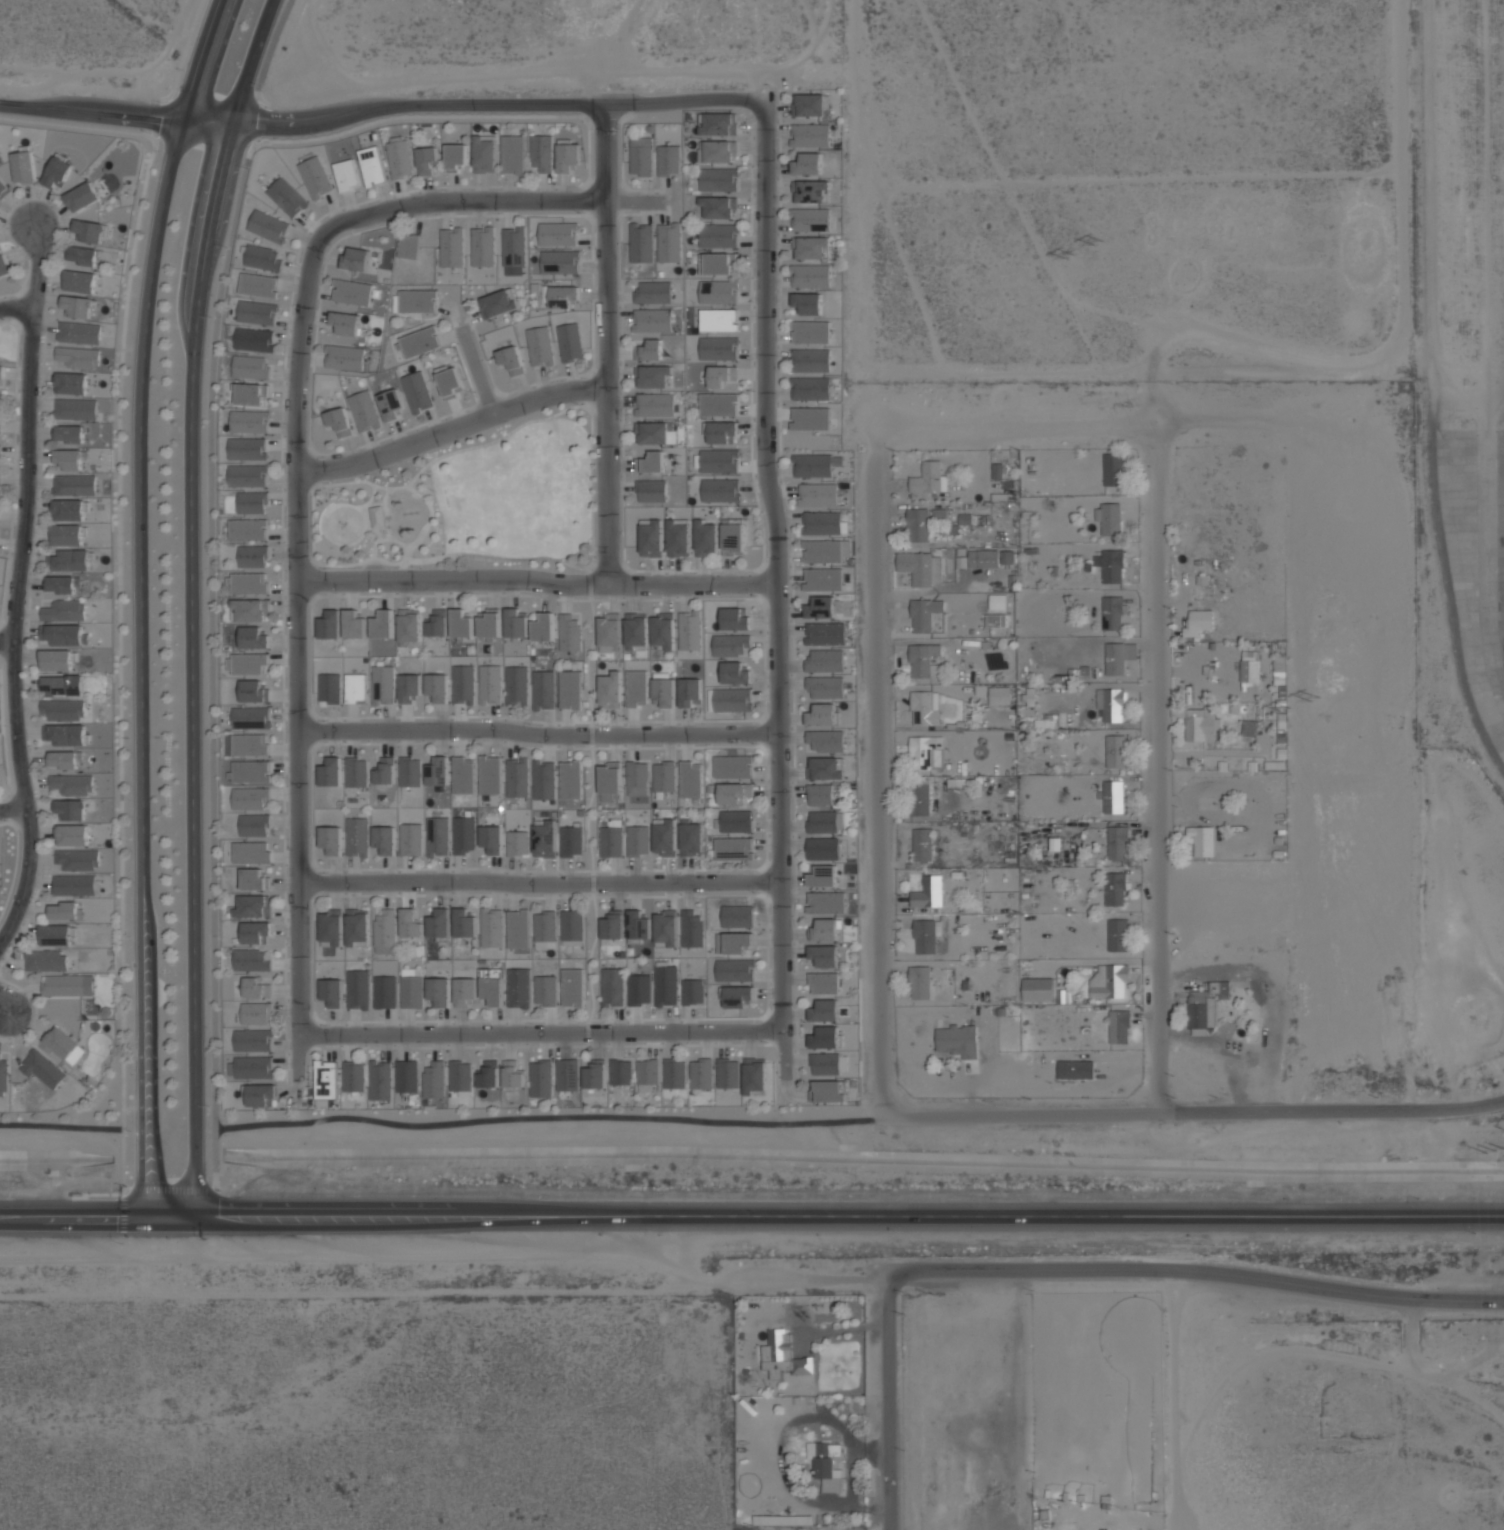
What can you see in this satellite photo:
building: (811, 105)
road: (380, 109)
building: (717, 123)
building: (810, 135)
building: (700, 151)
building: (720, 151)
building: (541, 152)
building: (485, 153)
building: (512, 154)
building: (455, 156)
building: (567, 156)
building: (641, 156)
building: (399, 158)
building: (426, 160)
building: (668, 160)
building: (807, 164)
building: (371, 166)
building: (23, 167)
building: (57, 172)
building: (346, 174)
building: (315, 177)
building: (718, 179)
building: (3, 189)
building: (810, 190)
building: (82, 196)
building: (286, 197)
building: (718, 207)
building: (810, 219)
building: (268, 226)
building: (89, 230)
building: (557, 234)
building: (718, 235)
power tower: (1098, 240)
building: (641, 242)
building: (669, 242)
building: (408, 246)
building: (482, 246)
building: (514, 246)
building: (452, 247)
building: (83, 255)
power tower: (1069, 255)
building: (262, 257)
building: (356, 259)
building: (560, 262)
building: (719, 263)
building: (3, 266)
building: (810, 276)
building: (80, 281)
building: (258, 285)
building: (352, 292)
building: (653, 292)
building: (717, 292)
building: (563, 296)
building: (498, 303)
building: (807, 303)
building: (77, 306)
road: (16, 310)
building: (256, 312)
building: (718, 320)
building: (652, 322)
building: (345, 323)
building: (79, 332)
building: (810, 332)
road: (1396, 336)
building: (253, 339)
building: (419, 341)
building: (570, 342)
road: (607, 345)
building: (540, 346)
building: (718, 348)
building: (649, 350)
building: (78, 357)
building: (344, 357)
building: (510, 359)
building: (810, 360)
building: (250, 366)
road: (477, 373)
building: (652, 376)
building: (722, 376)
building: (450, 381)
building: (71, 383)
building: (810, 388)
building: (416, 391)
building: (0, 393)
building: (251, 393)
building: (391, 404)
building: (654, 404)
building: (718, 404)
building: (75, 409)
building: (364, 411)
building: (810, 418)
building: (248, 421)
building: (338, 421)
building: (0, 427)
road: (1072, 427)
road: (451, 431)
building: (656, 432)
building: (720, 432)
building: (69, 433)
building: (246, 448)
building: (0, 451)
building: (69, 459)
building: (718, 460)
building: (651, 462)
building: (812, 465)
building: (1113, 469)
building: (997, 471)
building: (247, 476)
building: (929, 478)
road: (296, 481)
building: (74, 485)
building: (651, 490)
building: (720, 490)
building: (817, 494)
building: (251, 502)
park: (469, 503)
building: (69, 510)
building: (938, 512)
building: (377, 516)
building: (1108, 518)
building: (821, 522)
park: (344, 524)
building: (917, 525)
building: (247, 529)
building: (67, 534)
building: (733, 536)
building: (651, 538)
building: (678, 538)
building: (705, 538)
road: (872, 547)
building: (823, 551)
building: (252, 556)
road: (212, 557)
building: (983, 558)
building: (70, 560)
building: (1111, 565)
building: (921, 567)
building: (823, 579)
road: (537, 580)
building: (248, 583)
building: (62, 584)
road: (17, 585)
road: (778, 589)
road: (190, 601)
building: (997, 601)
road: (140, 602)
building: (63, 610)
building: (249, 610)
building: (1112, 613)
building: (924, 614)
building: (735, 618)
building: (996, 620)
building: (1198, 622)
building: (437, 623)
building: (489, 623)
building: (516, 623)
building: (329, 624)
building: (354, 624)
building: (382, 624)
building: (461, 625)
building: (409, 626)
building: (543, 627)
building: (663, 630)
building: (689, 630)
building: (569, 631)
building: (608, 631)
building: (635, 631)
building: (825, 633)
building: (63, 634)
building: (253, 637)
road: (6, 643)
building: (730, 645)
building: (922, 659)
building: (56, 660)
building: (825, 660)
building: (246, 663)
building: (1250, 671)
building: (734, 673)
building: (463, 684)
building: (490, 684)
building: (62, 685)
building: (382, 685)
building: (516, 685)
building: (408, 687)
building: (437, 687)
building: (825, 687)
building: (329, 688)
building: (355, 688)
building: (636, 688)
building: (543, 689)
building: (569, 689)
building: (610, 690)
building: (663, 690)
building: (253, 691)
building: (689, 692)
building: (999, 695)
power tower: (1314, 697)
building: (732, 699)
building: (1111, 704)
building: (925, 708)
power tower: (1285, 708)
building: (61, 709)
building: (821, 715)
building: (250, 717)
building: (1046, 722)
building: (1202, 728)
building: (1249, 729)
building: (65, 734)
road: (537, 735)
building: (826, 740)
building: (246, 744)
building: (923, 750)
building: (1115, 751)
building: (64, 759)
building: (733, 766)
building: (824, 768)
road: (1154, 770)
building: (384, 771)
building: (409, 771)
building: (437, 771)
building: (330, 772)
building: (356, 772)
building: (490, 774)
building: (463, 775)
building: (664, 776)
building: (517, 777)
building: (637, 778)
building: (544, 779)
building: (570, 779)
building: (690, 779)
building: (610, 781)
building: (72, 784)
building: (733, 792)
building: (820, 795)
building: (1113, 797)
building: (250, 798)
building: (919, 799)
road: (13, 808)
building: (71, 809)
road: (586, 809)
building: (736, 821)
building: (823, 821)
building: (254, 825)
building: (463, 834)
building: (72, 835)
building: (437, 836)
building: (357, 837)
building: (665, 838)
building: (691, 838)
building: (331, 839)
building: (384, 839)
building: (410, 839)
building: (491, 839)
building: (545, 839)
building: (611, 839)
building: (638, 840)
building: (1202, 840)
building: (571, 841)
building: (1117, 842)
building: (517, 843)
building: (922, 844)
building: (734, 848)
building: (823, 848)
building: (250, 852)
building: (77, 859)
building: (823, 876)
building: (254, 879)
road: (538, 884)
building: (74, 885)
building: (1114, 889)
road: (874, 891)
building: (928, 892)
building: (826, 902)
building: (253, 906)
building: (65, 911)
building: (737, 916)
building: (409, 923)
building: (439, 923)
building: (463, 923)
building: (612, 925)
building: (638, 925)
building: (545, 926)
building: (357, 927)
building: (385, 927)
building: (491, 927)
building: (571, 927)
building: (331, 928)
building: (518, 928)
building: (665, 928)
building: (692, 928)
building: (823, 930)
building: (255, 932)
building: (1117, 934)
building: (55, 935)
building: (925, 936)
building: (737, 942)
building: (824, 955)
building: (45, 960)
building: (251, 960)
building: (735, 970)
building: (1109, 981)
building: (920, 982)
building: (824, 983)
building: (68, 985)
building: (666, 985)
building: (491, 986)
building: (256, 987)
building: (612, 987)
building: (411, 988)
building: (518, 988)
building: (572, 988)
building: (358, 989)
building: (639, 989)
building: (545, 990)
building: (439, 991)
building: (692, 991)
building: (332, 992)
building: (384, 992)
building: (465, 992)
building: (737, 996)
building: (1207, 1005)
road: (3, 1009)
building: (824, 1010)
building: (254, 1013)
building: (1119, 1026)
road: (540, 1034)
building: (824, 1037)
building: (253, 1040)
building: (957, 1040)
building: (63, 1045)
building: (825, 1063)
building: (250, 1067)
building: (42, 1069)
building: (1075, 1069)
building: (621, 1072)
building: (674, 1073)
building: (701, 1073)
building: (728, 1073)
building: (489, 1074)
building: (512, 1074)
building: (567, 1074)
building: (595, 1074)
building: (647, 1074)
building: (754, 1075)
building: (353, 1076)
building: (406, 1076)
building: (460, 1076)
building: (3, 1077)
building: (541, 1078)
building: (325, 1079)
building: (434, 1079)
building: (380, 1080)
building: (259, 1095)
road: (778, 1099)
road: (1190, 1112)
road: (545, 1117)
road: (61, 1126)
power tower: (1494, 1148)
road: (123, 1172)
road: (199, 1189)
traffic signals: (144, 1214)
traffic signals: (198, 1214)
road: (751, 1214)
road: (1072, 1269)
building: (783, 1355)
building: (826, 1464)

